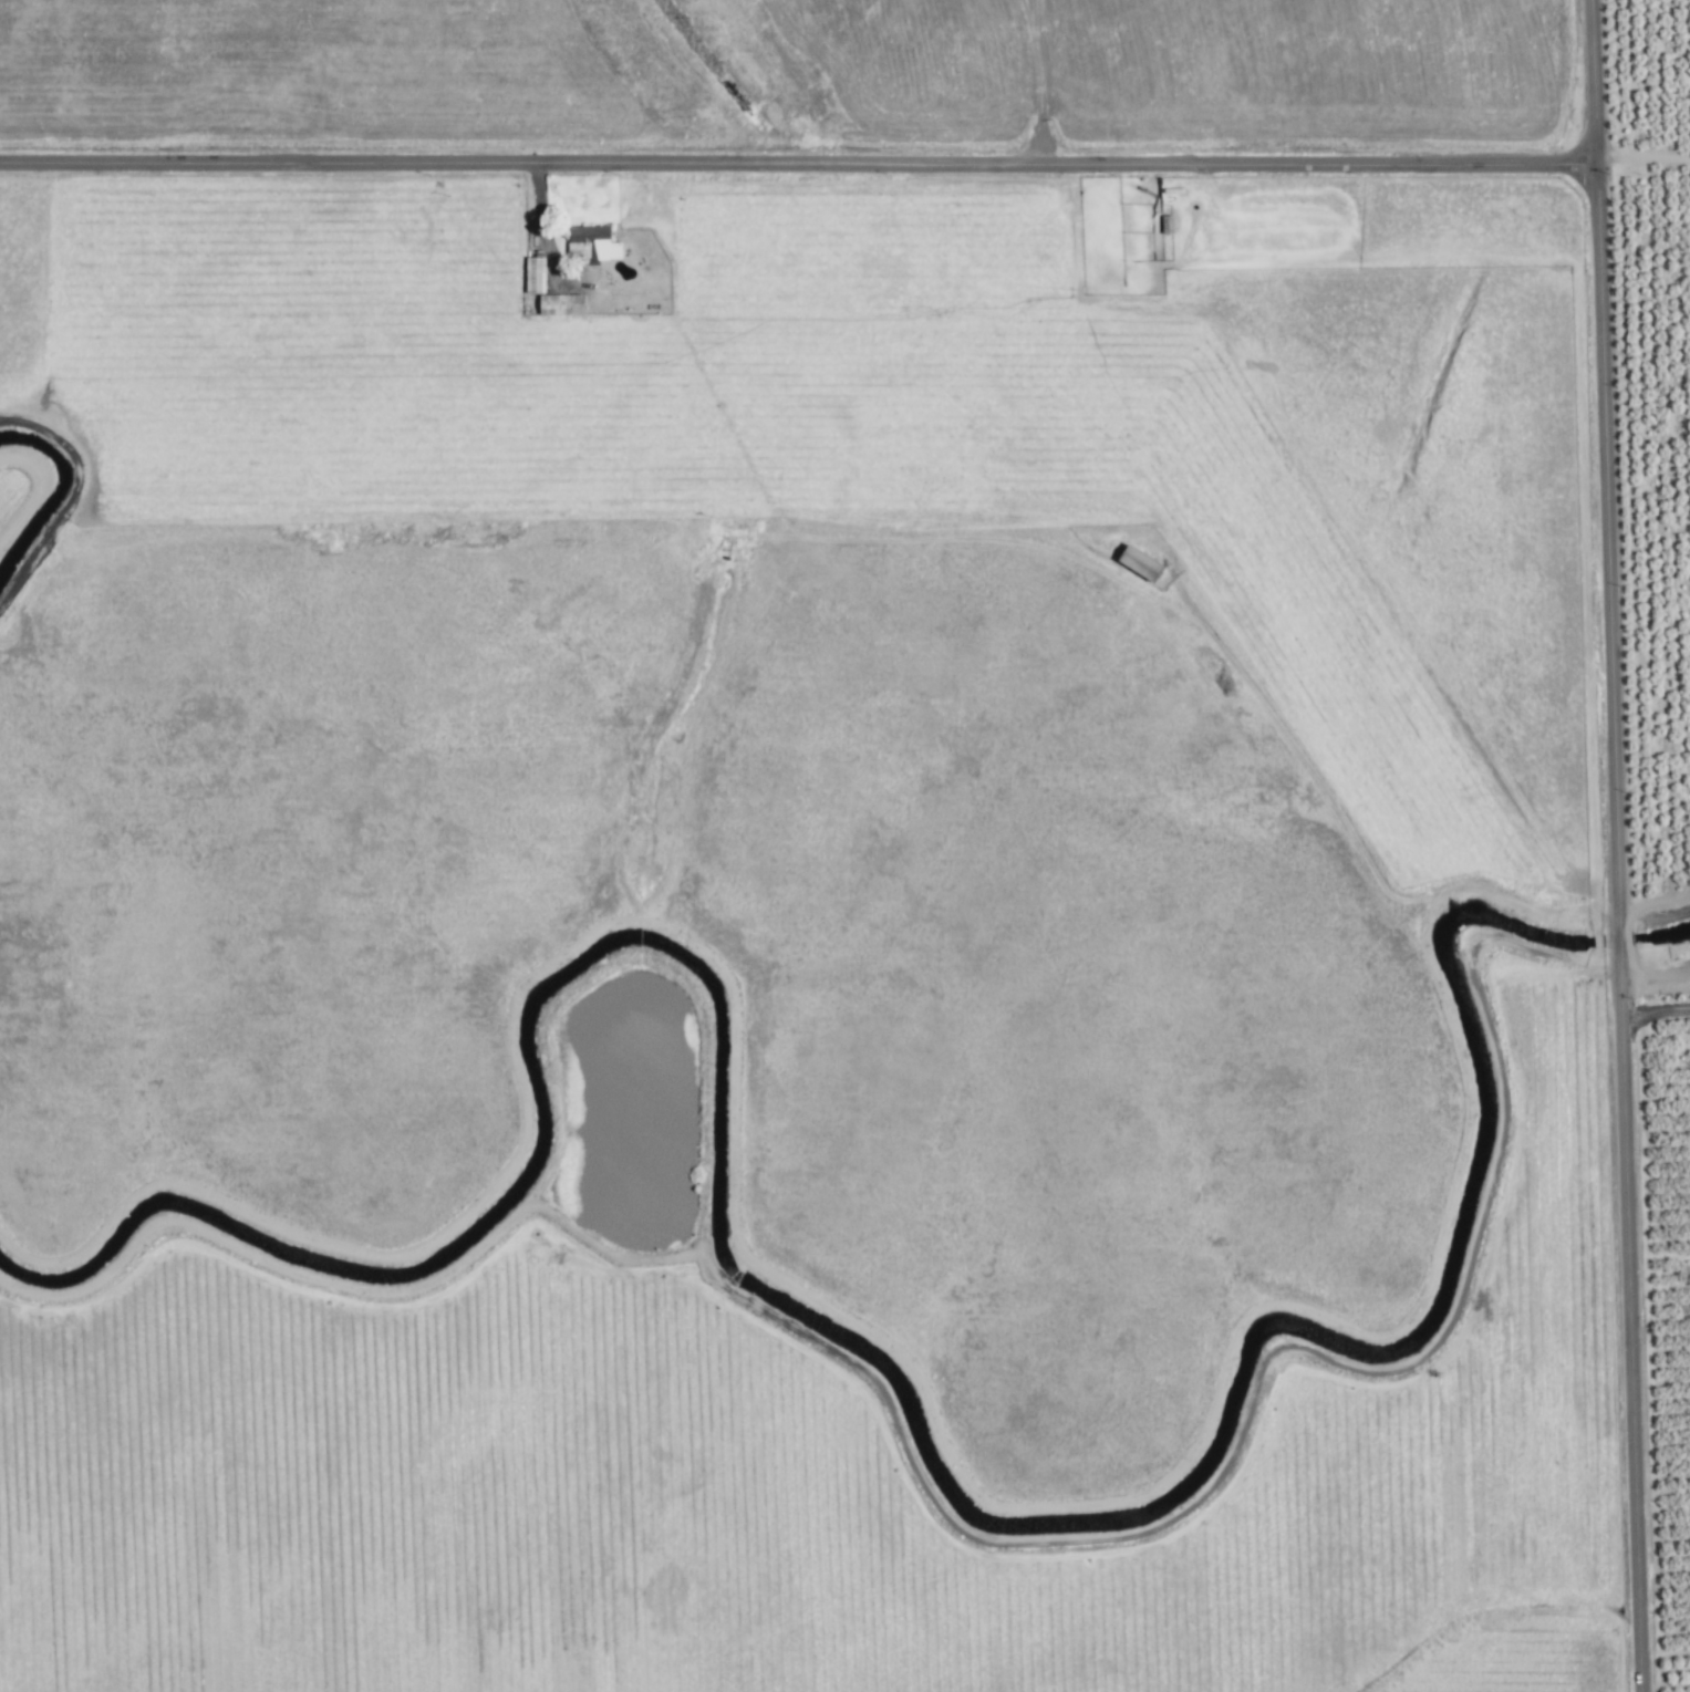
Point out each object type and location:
road: (797, 159)
building: (1167, 226)
road: (540, 229)
building: (592, 245)
building: (535, 276)
river: (46, 486)
building: (1142, 564)
road: (1614, 845)
crop: (811, 985)
road: (1653, 1011)
river: (871, 1368)

